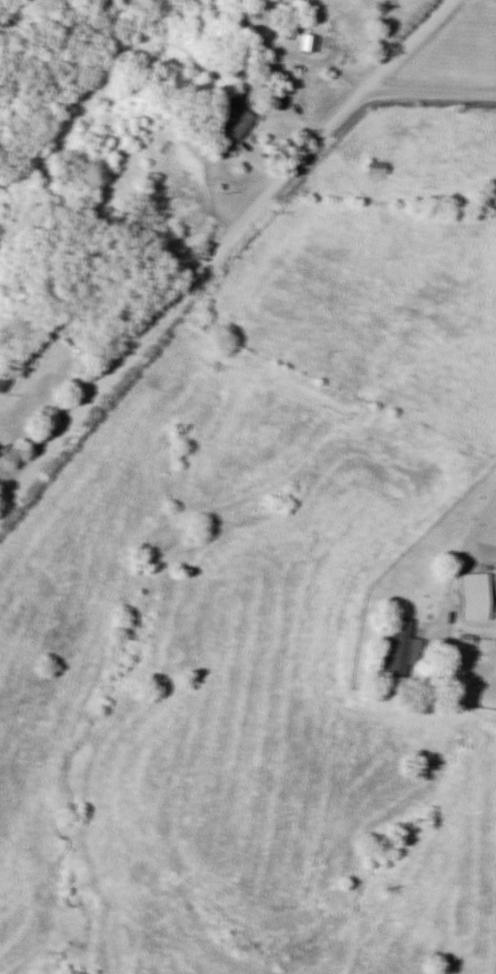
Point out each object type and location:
building: (305, 43)
building: (332, 46)
road: (428, 91)
building: (236, 119)
building: (374, 167)
building: (156, 210)
road: (217, 243)
road: (458, 547)
building: (471, 595)
building: (399, 647)

